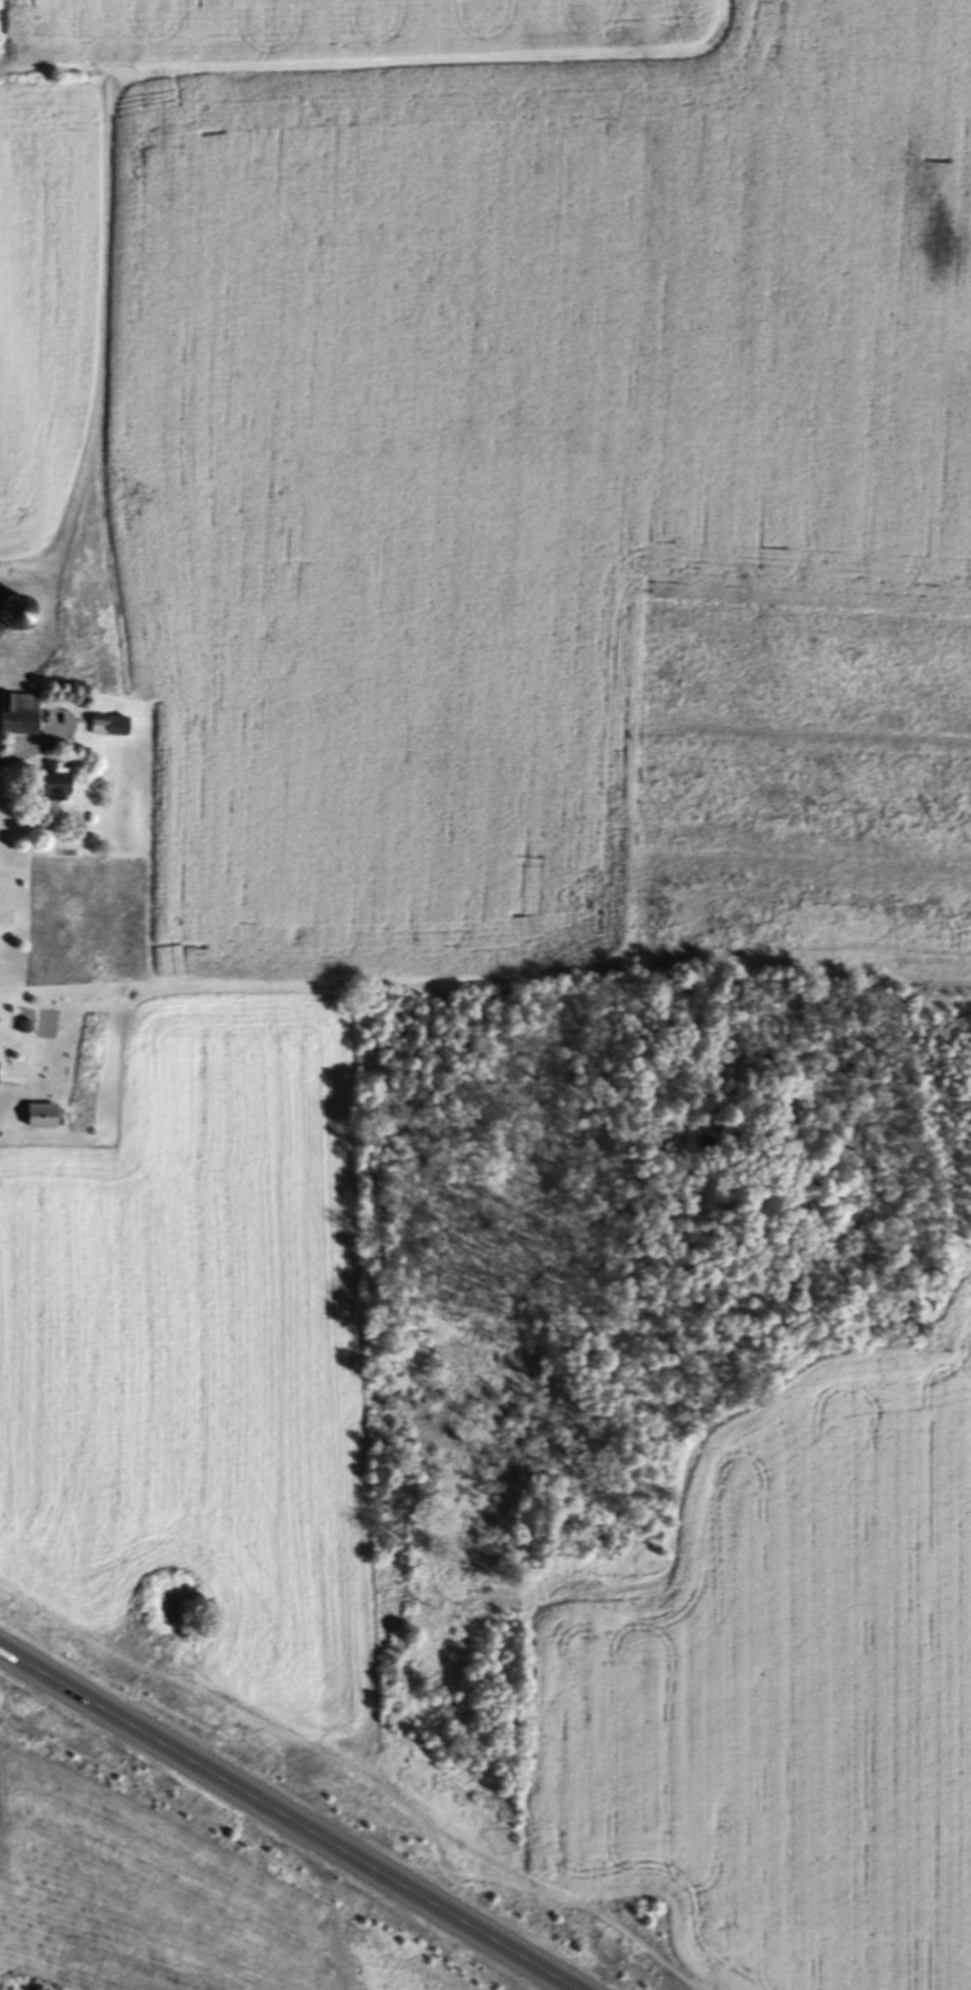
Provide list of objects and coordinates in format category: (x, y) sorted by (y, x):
building: (20, 717)
building: (111, 728)
road: (34, 752)
building: (58, 785)
road: (286, 1820)

